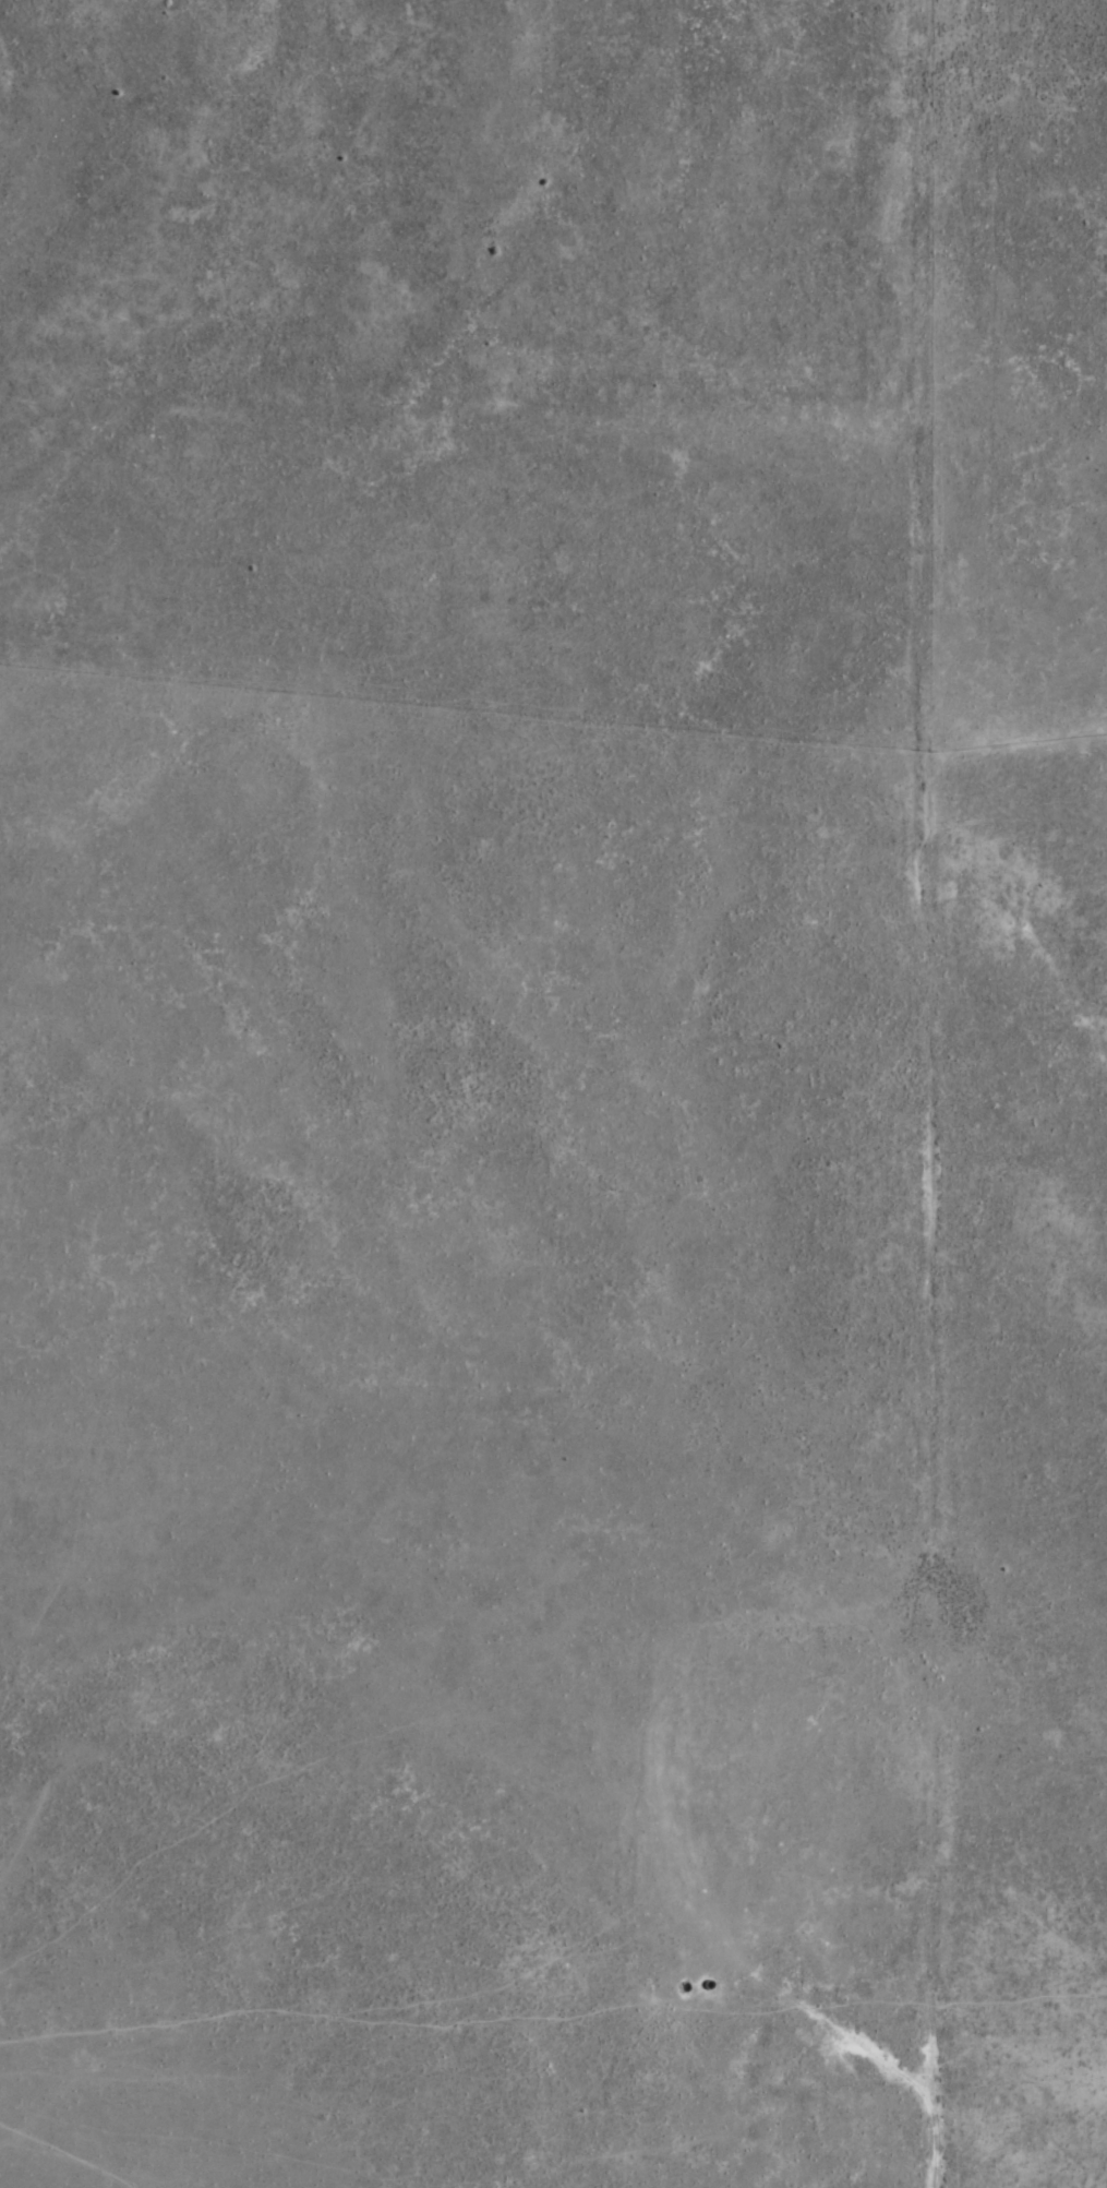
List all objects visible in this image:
road: (517, 2053)

